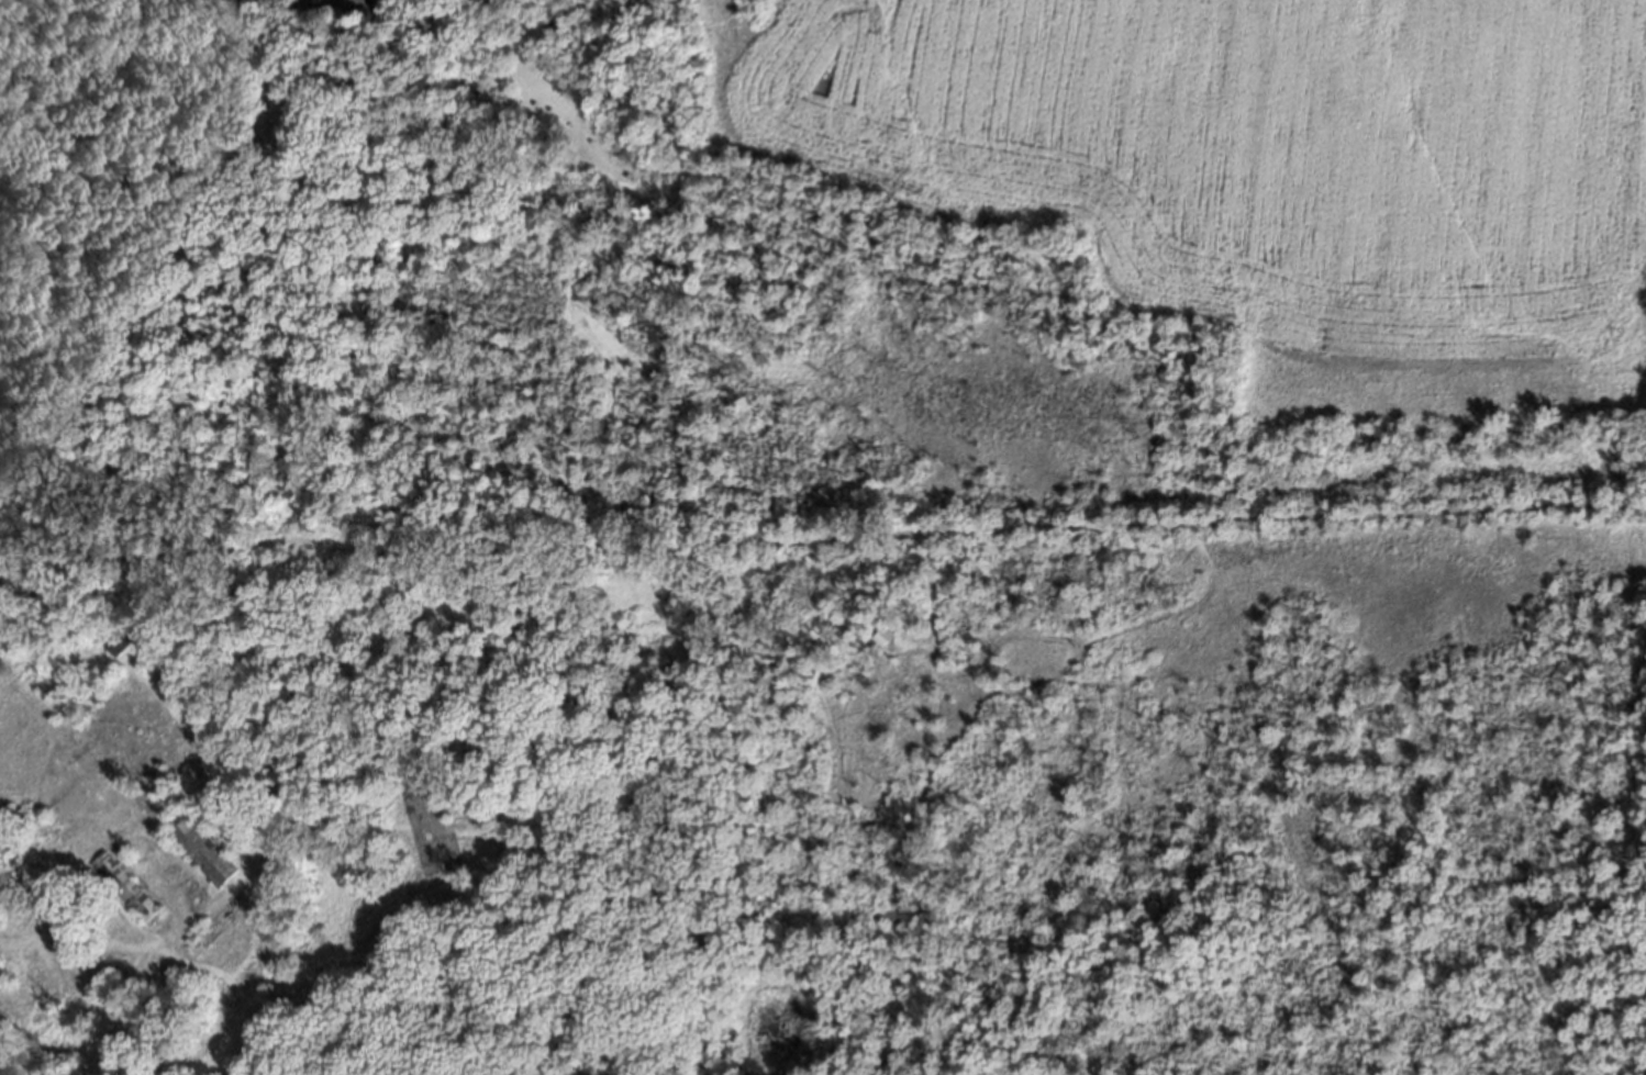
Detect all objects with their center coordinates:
road: (461, 550)
building: (121, 634)
building: (877, 636)
building: (82, 673)
building: (199, 848)
building: (120, 885)

